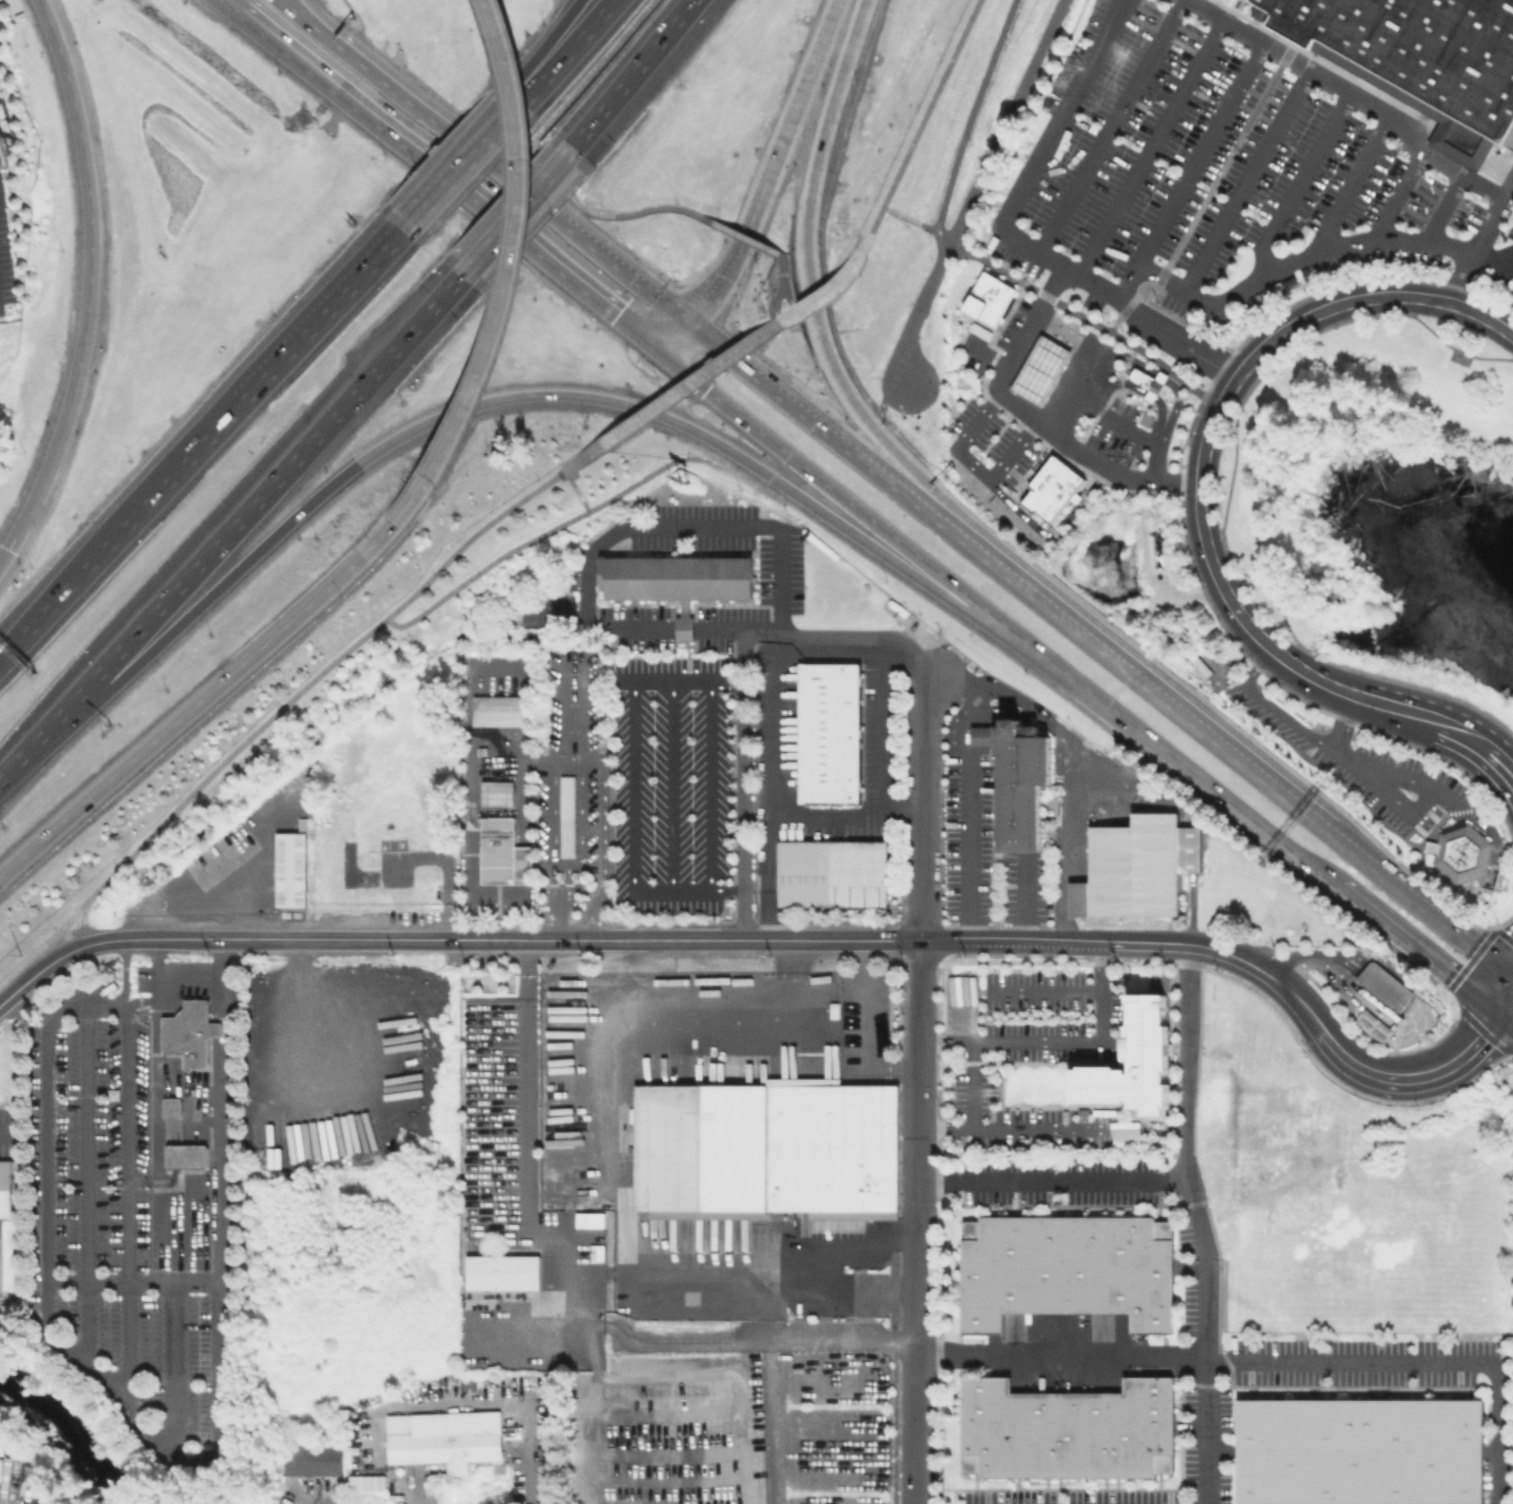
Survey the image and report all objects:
road: (283, 2)
road: (286, 2)
road: (231, 4)
road: (360, 27)
road: (320, 31)
road: (551, 54)
road: (570, 54)
building: (1422, 59)
road: (626, 72)
road: (581, 78)
road: (1350, 95)
road: (401, 96)
road: (1108, 126)
road: (1422, 129)
road: (915, 133)
road: (1457, 146)
road: (1149, 147)
road: (471, 150)
parking lot: (1214, 157)
road: (468, 166)
road: (770, 166)
road: (1497, 168)
road: (1188, 169)
road: (452, 177)
road: (1246, 180)
road: (1298, 181)
road: (1349, 182)
road: (973, 186)
road: (1396, 194)
road: (1202, 202)
road: (513, 206)
road: (1442, 207)
road: (607, 213)
road: (804, 220)
road: (1008, 234)
road: (740, 235)
road: (591, 244)
road: (1480, 244)
road: (513, 247)
road: (1315, 250)
road: (972, 252)
road: (1512, 266)
road: (89, 277)
road: (784, 286)
road: (826, 290)
road: (789, 299)
building: (993, 299)
traffic signals: (619, 310)
road: (327, 316)
road: (790, 316)
road: (777, 324)
road: (676, 338)
road: (708, 339)
parking lot: (1000, 340)
road: (986, 355)
road: (1125, 355)
road: (1083, 358)
traffic signals: (734, 359)
building: (1045, 368)
gas station: (1045, 368)
road: (683, 369)
road: (715, 370)
road: (753, 374)
road: (1165, 379)
road: (1115, 383)
building: (1152, 384)
road: (687, 386)
road: (1154, 398)
road: (492, 399)
road: (881, 400)
road: (1162, 413)
road: (1169, 413)
road: (1030, 415)
road: (1129, 429)
parking lot: (1118, 432)
road: (961, 438)
parking lot: (995, 441)
road: (1203, 449)
road: (1011, 450)
road: (592, 451)
road: (1155, 462)
road: (573, 464)
road: (874, 469)
road: (279, 470)
road: (574, 472)
road: (1096, 480)
road: (922, 487)
building: (1058, 487)
road: (836, 492)
road: (1082, 497)
road: (407, 500)
road: (571, 519)
road: (1033, 524)
road: (698, 526)
road: (120, 536)
road: (871, 537)
traffic signals: (8, 547)
road: (4, 552)
building: (680, 582)
road: (170, 614)
road: (598, 623)
road: (689, 628)
road: (822, 637)
building: (1199, 667)
road: (690, 686)
road: (1149, 686)
road: (294, 692)
road: (197, 701)
road: (1271, 706)
building: (502, 713)
road: (48, 719)
building: (829, 732)
road: (1474, 735)
road: (887, 738)
road: (771, 741)
road: (1362, 771)
road: (602, 775)
building: (1016, 777)
road: (972, 782)
road: (744, 785)
road: (635, 789)
road: (674, 789)
road: (713, 789)
road: (1440, 792)
building: (496, 793)
road: (1059, 794)
road: (921, 803)
road: (1233, 806)
road: (469, 816)
building: (567, 816)
road: (579, 823)
building: (1458, 851)
building: (502, 854)
building: (1132, 867)
building: (831, 871)
building: (295, 873)
road: (551, 890)
road: (566, 890)
road: (689, 892)
road: (1427, 906)
road: (469, 916)
road: (558, 928)
road: (257, 940)
road: (536, 940)
road: (691, 940)
road: (846, 940)
road: (986, 941)
road: (1145, 943)
road: (24, 963)
road: (525, 968)
road: (1260, 970)
road: (126, 972)
road: (27, 981)
road: (188, 984)
building: (1158, 984)
road: (1449, 988)
road: (1048, 991)
building: (1384, 991)
road: (1509, 992)
building: (959, 993)
road: (1299, 999)
traffic signals: (1505, 1000)
road: (1509, 1003)
building: (1375, 1028)
building: (195, 1036)
road: (1397, 1038)
road: (1062, 1043)
building: (1136, 1061)
road: (1414, 1078)
road: (221, 1080)
road: (976, 1086)
road: (158, 1087)
road: (131, 1093)
building: (176, 1103)
road: (1185, 1103)
parking lot: (8, 1126)
road: (948, 1130)
road: (1056, 1130)
road: (1160, 1130)
road: (190, 1131)
building: (765, 1147)
building: (190, 1152)
road: (618, 1167)
road: (175, 1179)
road: (1055, 1180)
road: (89, 1183)
building: (589, 1219)
road: (919, 1222)
road: (539, 1223)
building: (8, 1232)
parking lot: (123, 1235)
road: (842, 1246)
building: (1065, 1269)
building: (502, 1271)
road: (132, 1281)
road: (130, 1291)
road: (588, 1324)
road: (758, 1337)
road: (769, 1343)
road: (1063, 1353)
road: (1352, 1360)
road: (93, 1365)
road: (174, 1368)
road: (1208, 1381)
road: (440, 1404)
road: (771, 1426)
building: (1067, 1429)
road: (1496, 1432)
building: (445, 1435)
building: (1360, 1451)
building: (312, 1459)
building: (366, 1482)

